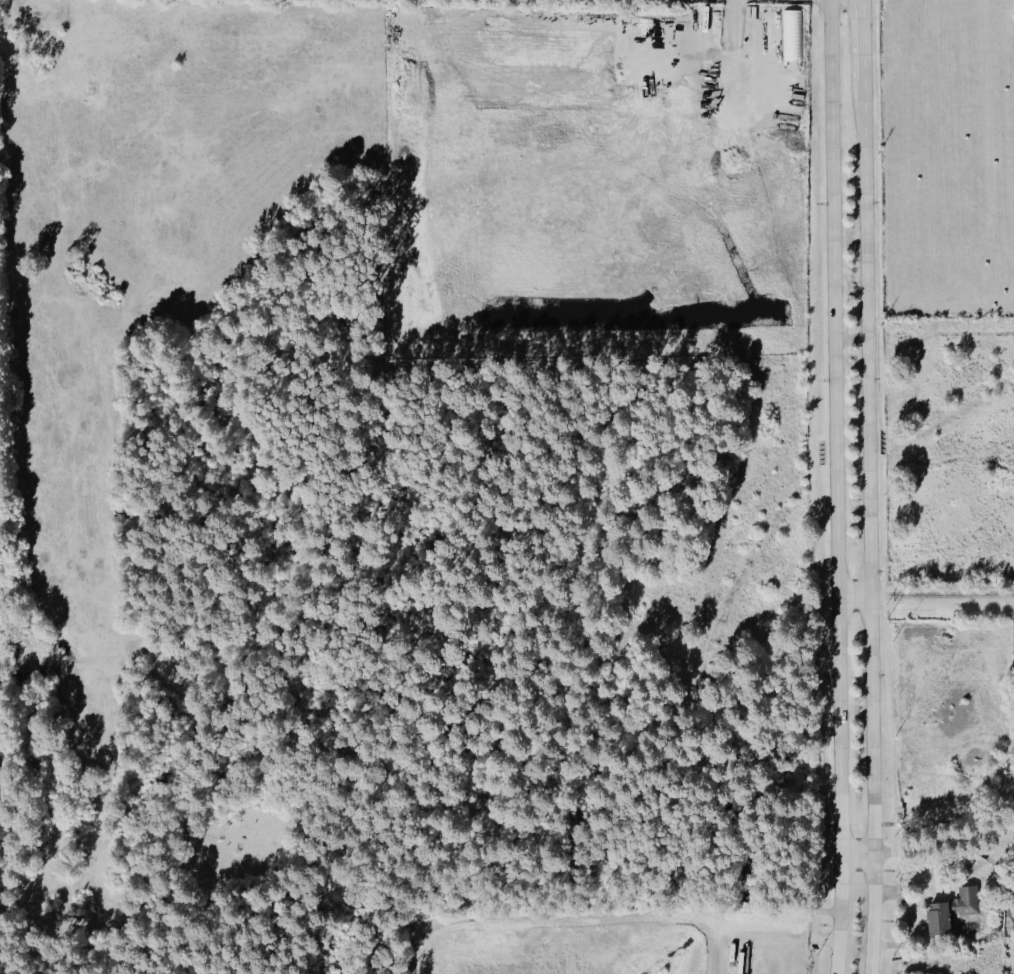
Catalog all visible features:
building: (772, 30)
road: (864, 40)
road: (733, 56)
crop: (945, 158)
road: (835, 399)
road: (869, 439)
road: (943, 594)
road: (855, 595)
road: (859, 853)
road: (875, 872)
road: (925, 883)
road: (841, 886)
road: (899, 895)
building: (953, 910)
road: (791, 937)
road: (871, 959)

